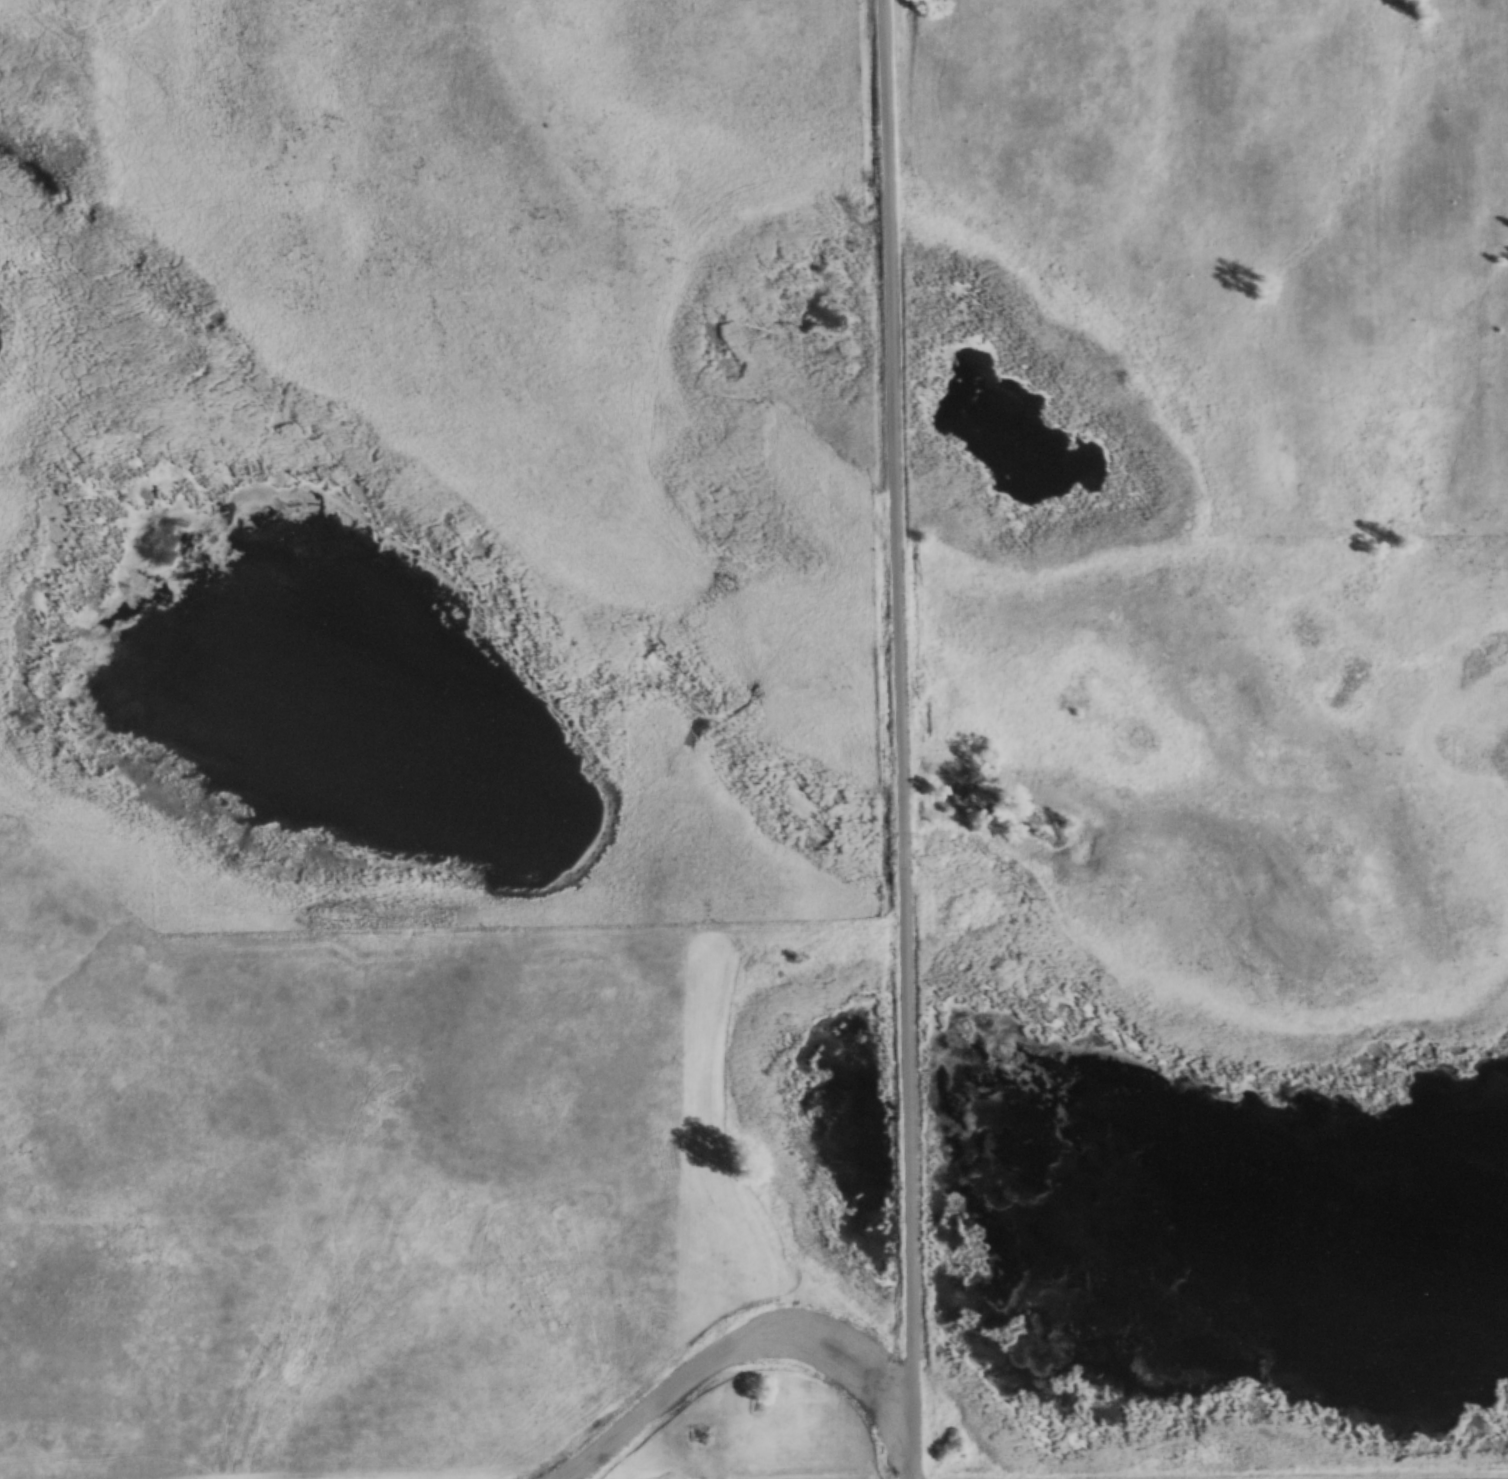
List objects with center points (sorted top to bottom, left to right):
river: (332, 633)
road: (903, 739)
river: (1132, 1097)
river: (1384, 1198)
river: (1157, 1308)

